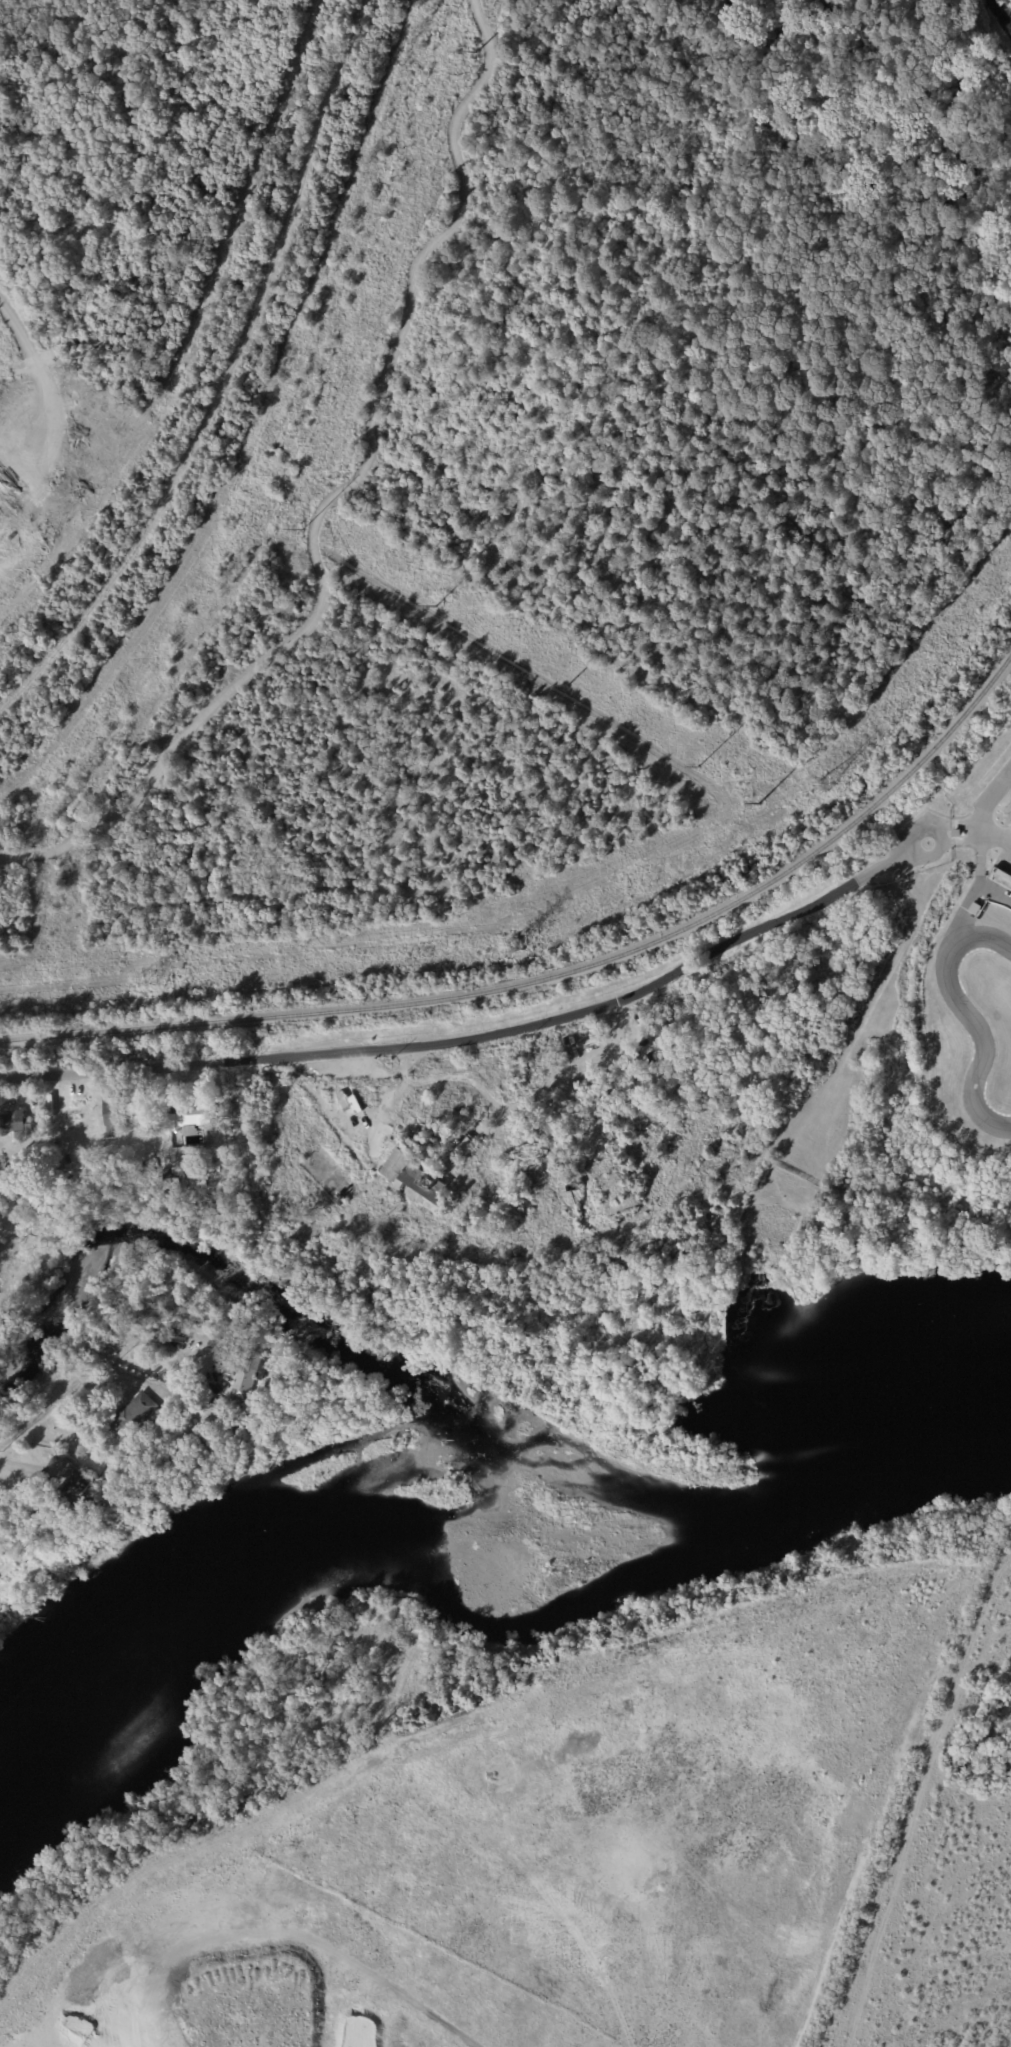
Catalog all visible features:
power tower: (477, 51)
road: (36, 377)
road: (333, 487)
power tower: (301, 529)
power tower: (436, 606)
power tower: (570, 687)
park: (989, 728)
power tower: (698, 766)
power tower: (826, 786)
road: (990, 802)
power tower: (761, 803)
road: (937, 826)
building: (956, 832)
road: (997, 836)
road: (942, 847)
parking lot: (1006, 853)
road: (982, 875)
building: (975, 908)
road: (958, 925)
power tower: (506, 943)
road: (716, 951)
railway: (559, 974)
power tower: (144, 977)
raceway: (971, 1016)
road: (261, 1055)
building: (519, 1068)
building: (344, 1100)
building: (354, 1103)
building: (115, 1114)
building: (190, 1118)
building: (15, 1123)
building: (471, 1136)
building: (56, 1164)
building: (21, 1171)
building: (412, 1175)
building: (197, 1179)
building: (171, 1181)
building: (574, 1187)
building: (29, 1206)
park: (914, 1210)
building: (244, 1372)
road: (56, 1398)
building: (213, 1399)
building: (220, 1410)
building: (131, 1416)
building: (81, 1489)
building: (45, 1560)
river: (470, 1570)

